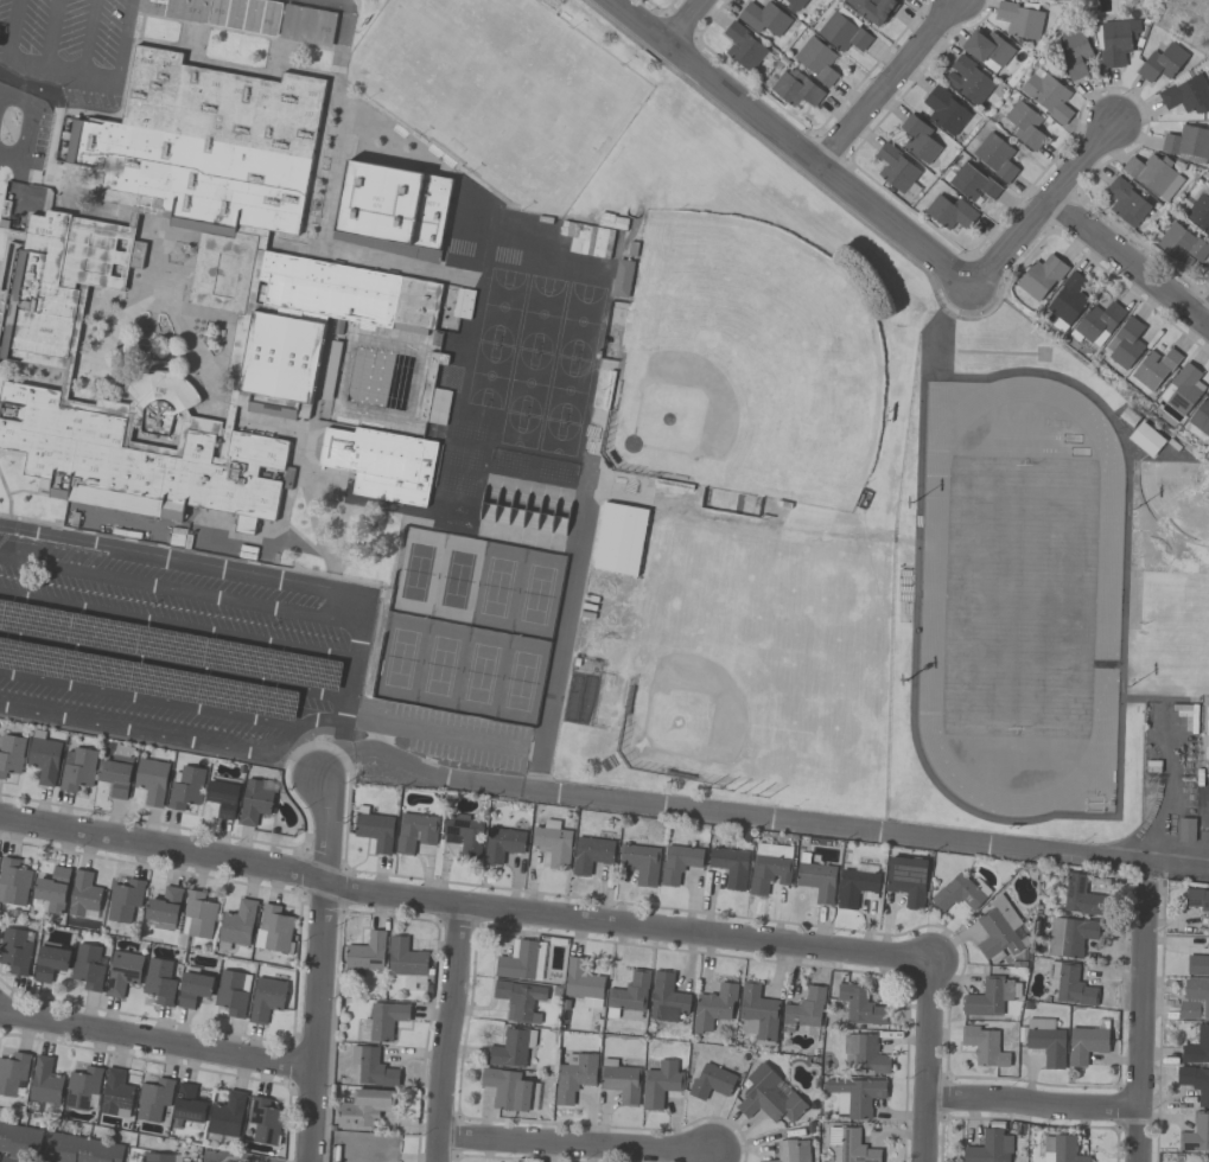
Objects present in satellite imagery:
building: (905, 0)
building: (796, 4)
building: (873, 8)
building: (219, 12)
building: (763, 18)
building: (1020, 18)
road: (682, 20)
building: (307, 24)
road: (9, 28)
building: (841, 30)
road: (47, 37)
road: (87, 40)
building: (1115, 40)
building: (987, 46)
building: (743, 47)
parking lot: (66, 49)
building: (1075, 52)
building: (816, 59)
building: (1162, 63)
building: (968, 79)
road: (884, 81)
road: (101, 84)
building: (795, 88)
building: (1048, 95)
building: (1186, 95)
road: (17, 98)
building: (944, 110)
road: (338, 113)
building: (1024, 124)
building: (918, 138)
building: (1188, 141)
road: (793, 142)
road: (24, 146)
building: (995, 155)
building: (896, 170)
building: (1154, 174)
building: (973, 183)
building: (1126, 202)
building: (393, 204)
road: (1041, 205)
building: (1196, 210)
building: (950, 212)
building: (1179, 244)
road: (1127, 260)
building: (1041, 276)
building: (623, 279)
building: (352, 287)
building: (1067, 300)
road: (1204, 311)
building: (1097, 324)
building: (1125, 343)
building: (1154, 368)
building: (1182, 389)
building: (432, 392)
building: (1201, 416)
building: (1146, 439)
building: (381, 462)
building: (619, 538)
road: (184, 560)
road: (180, 592)
building: (905, 594)
road: (177, 628)
road: (561, 644)
parking lot: (167, 650)
road: (355, 655)
road: (174, 665)
road: (148, 698)
road: (300, 726)
road: (342, 728)
road: (135, 732)
road: (435, 734)
road: (377, 736)
road: (362, 748)
road: (534, 752)
building: (11, 754)
building: (44, 758)
road: (329, 758)
road: (333, 762)
building: (77, 770)
building: (117, 771)
building: (151, 780)
building: (185, 787)
road: (1170, 794)
building: (222, 798)
building: (254, 802)
road: (1204, 816)
road: (789, 818)
road: (323, 826)
building: (374, 829)
building: (1186, 830)
building: (415, 831)
building: (464, 834)
building: (553, 843)
building: (502, 844)
road: (1202, 847)
road: (164, 848)
building: (592, 853)
road: (1205, 857)
building: (641, 862)
building: (679, 862)
building: (730, 866)
building: (770, 867)
building: (816, 877)
building: (906, 880)
building: (13, 882)
building: (855, 887)
building: (52, 889)
building: (959, 893)
building: (84, 896)
building: (1080, 896)
building: (123, 900)
building: (1197, 900)
building: (164, 906)
building: (198, 914)
building: (237, 924)
road: (626, 927)
building: (273, 930)
building: (1000, 931)
building: (1069, 936)
building: (14, 950)
building: (367, 952)
building: (405, 958)
building: (522, 960)
building: (50, 962)
building: (1197, 963)
building: (88, 966)
building: (122, 972)
building: (158, 982)
building: (583, 983)
building: (1070, 984)
building: (192, 989)
building: (231, 992)
building: (629, 994)
building: (991, 996)
building: (266, 998)
building: (667, 998)
building: (520, 1000)
building: (1194, 1000)
building: (861, 1005)
building: (713, 1007)
building: (804, 1009)
building: (758, 1013)
road: (319, 1019)
building: (383, 1021)
road: (1141, 1021)
road: (447, 1035)
road: (158, 1040)
building: (1043, 1041)
building: (1086, 1045)
building: (984, 1046)
building: (511, 1047)
building: (1196, 1047)
building: (865, 1054)
road: (928, 1061)
building: (373, 1067)
building: (13, 1073)
building: (574, 1078)
building: (621, 1080)
building: (45, 1081)
building: (711, 1081)
building: (1195, 1081)
building: (660, 1083)
building: (82, 1087)
building: (507, 1090)
building: (116, 1094)
building: (768, 1096)
building: (855, 1096)
building: (153, 1099)
road: (1033, 1102)
building: (187, 1105)
building: (363, 1109)
building: (227, 1115)
building: (263, 1120)
building: (1196, 1134)
building: (18, 1142)
road: (573, 1142)
building: (851, 1145)
building: (988, 1148)
building: (1062, 1148)
building: (79, 1149)
building: (790, 1151)
building: (158, 1157)
road: (230, 1158)

